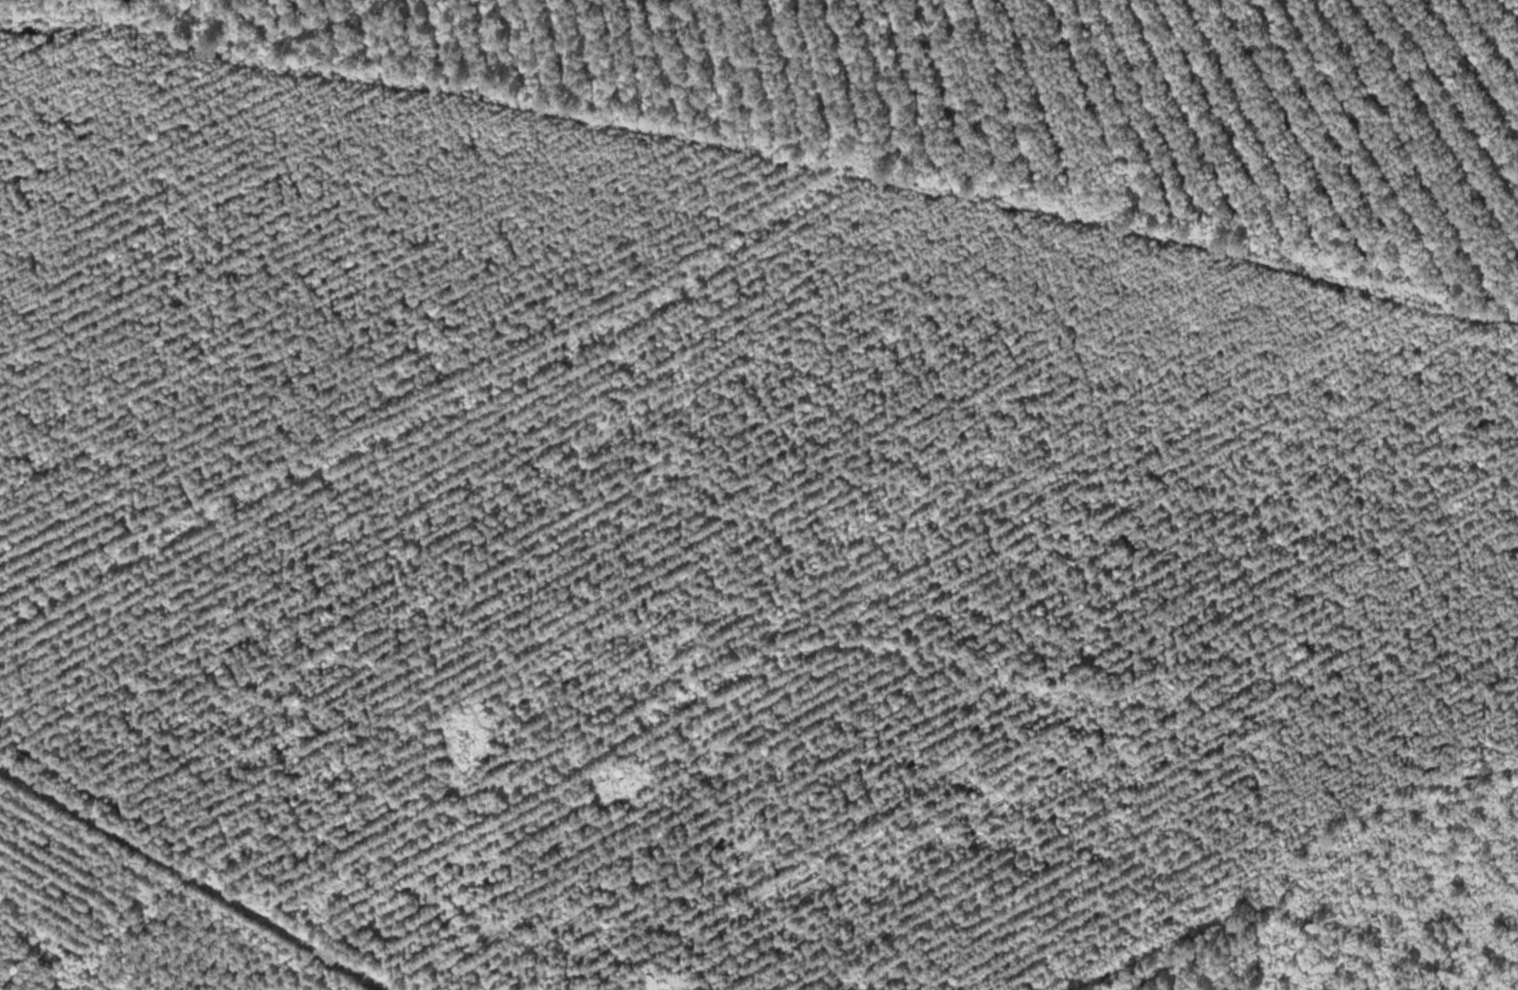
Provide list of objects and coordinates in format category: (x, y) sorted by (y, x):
road: (189, 881)

